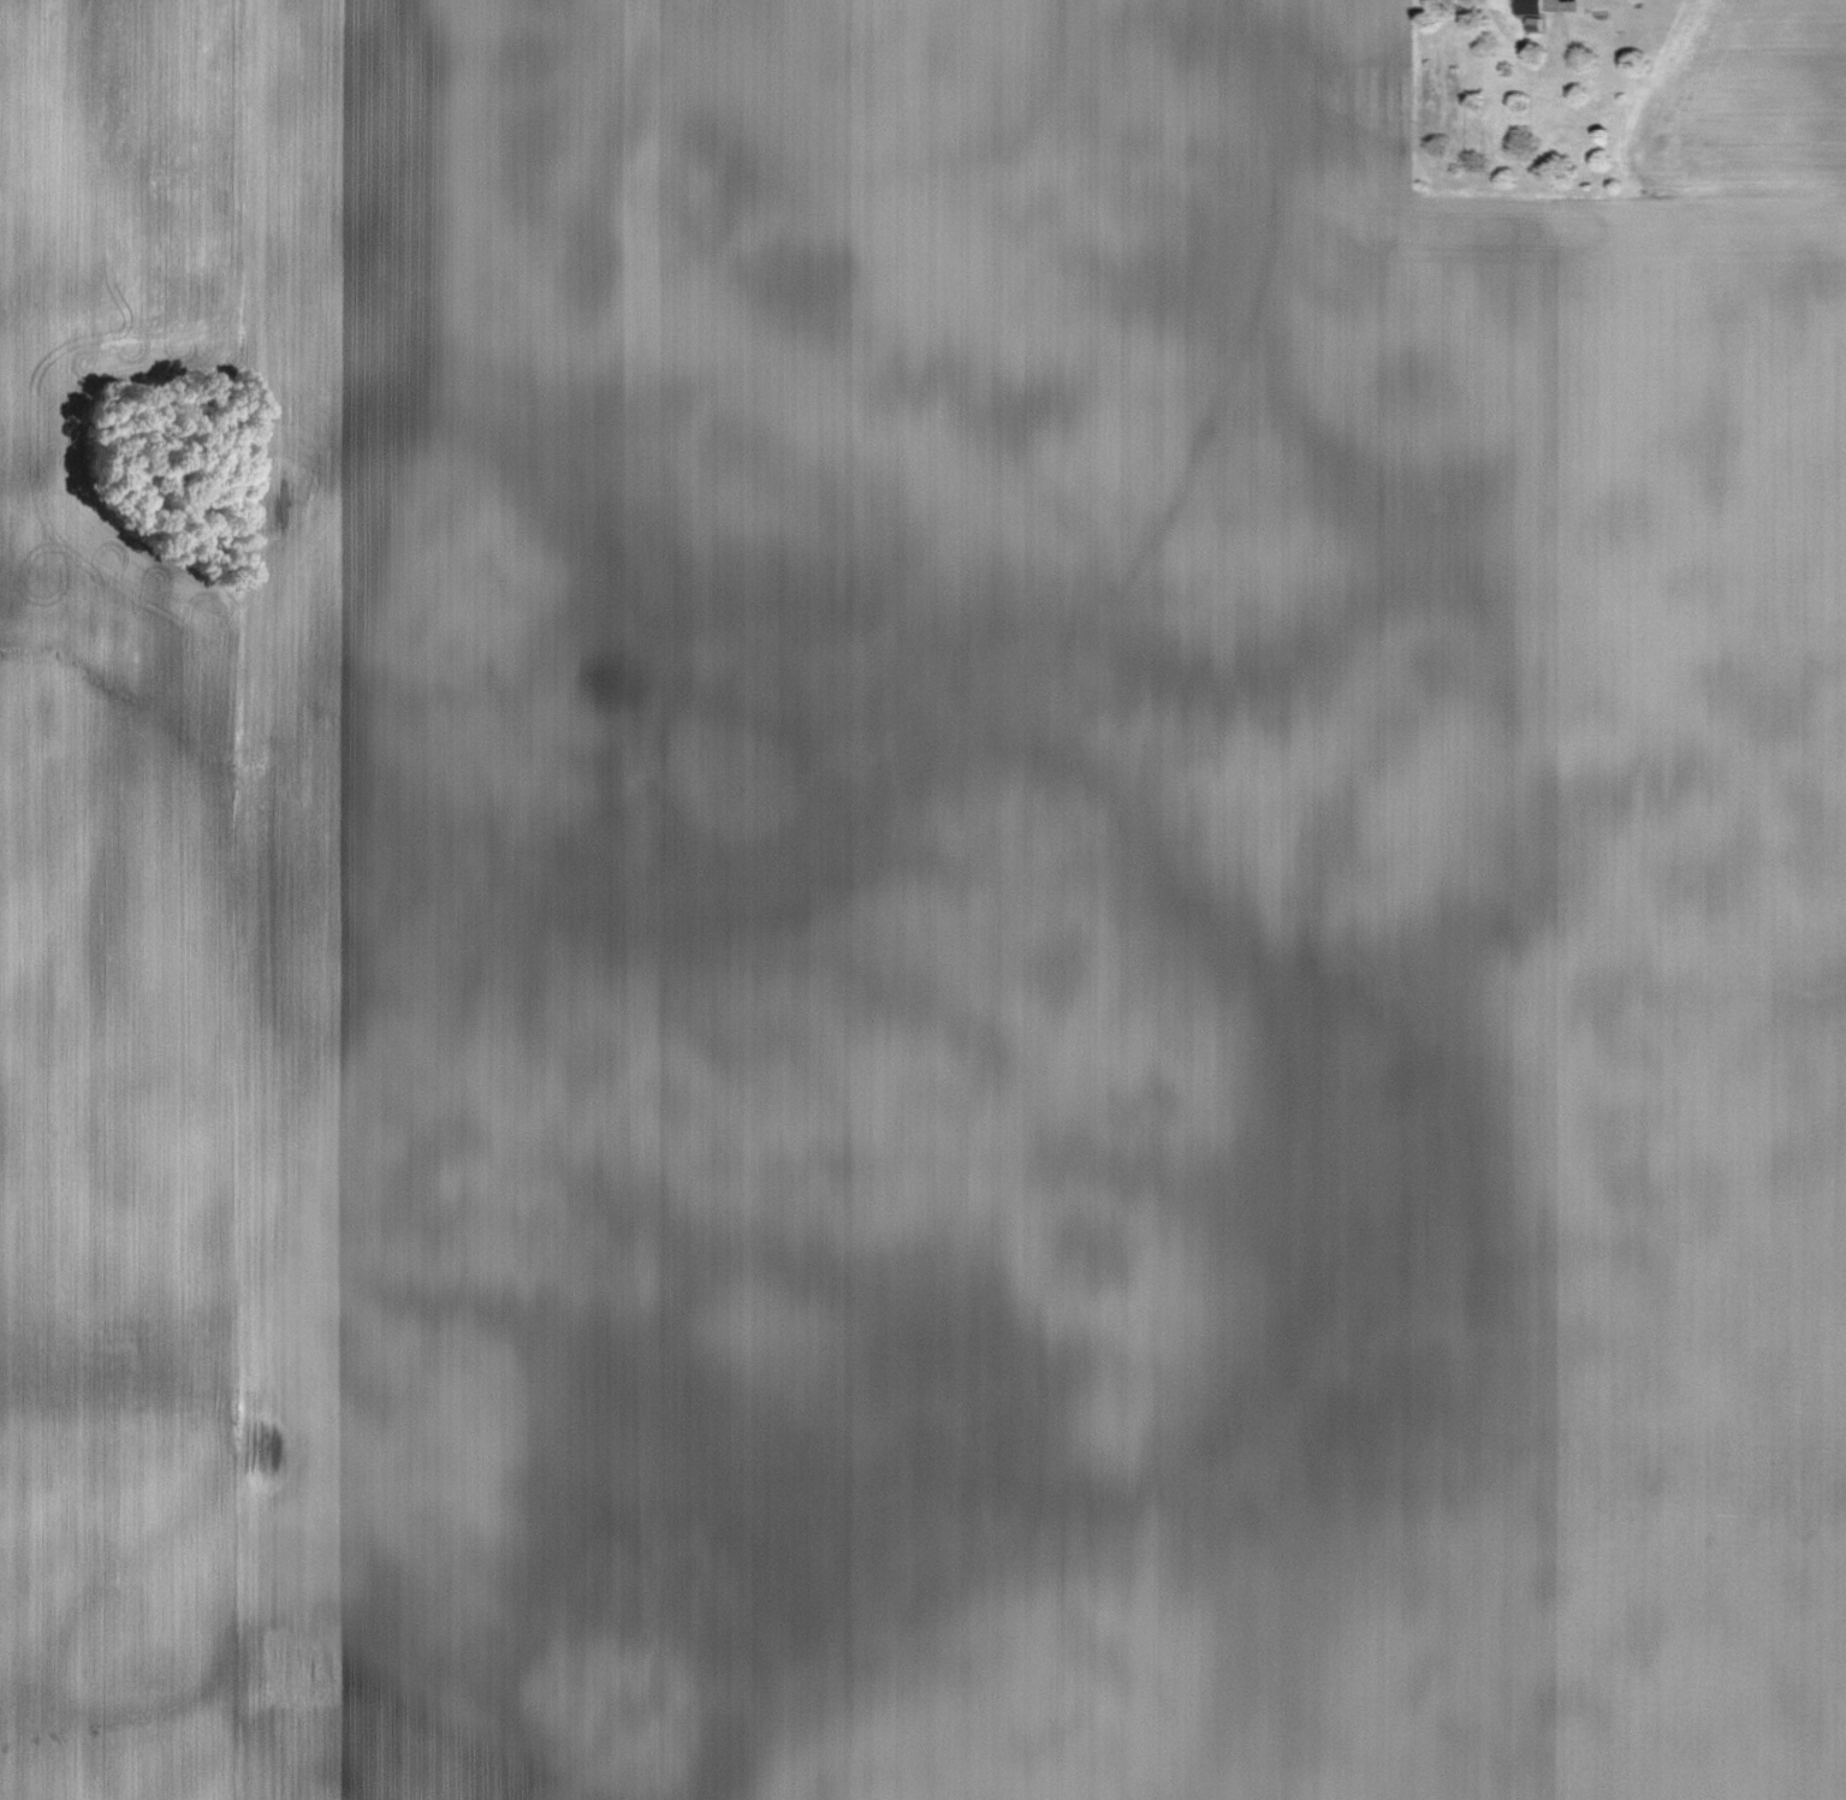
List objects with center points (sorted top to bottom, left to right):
building: (1527, 6)

